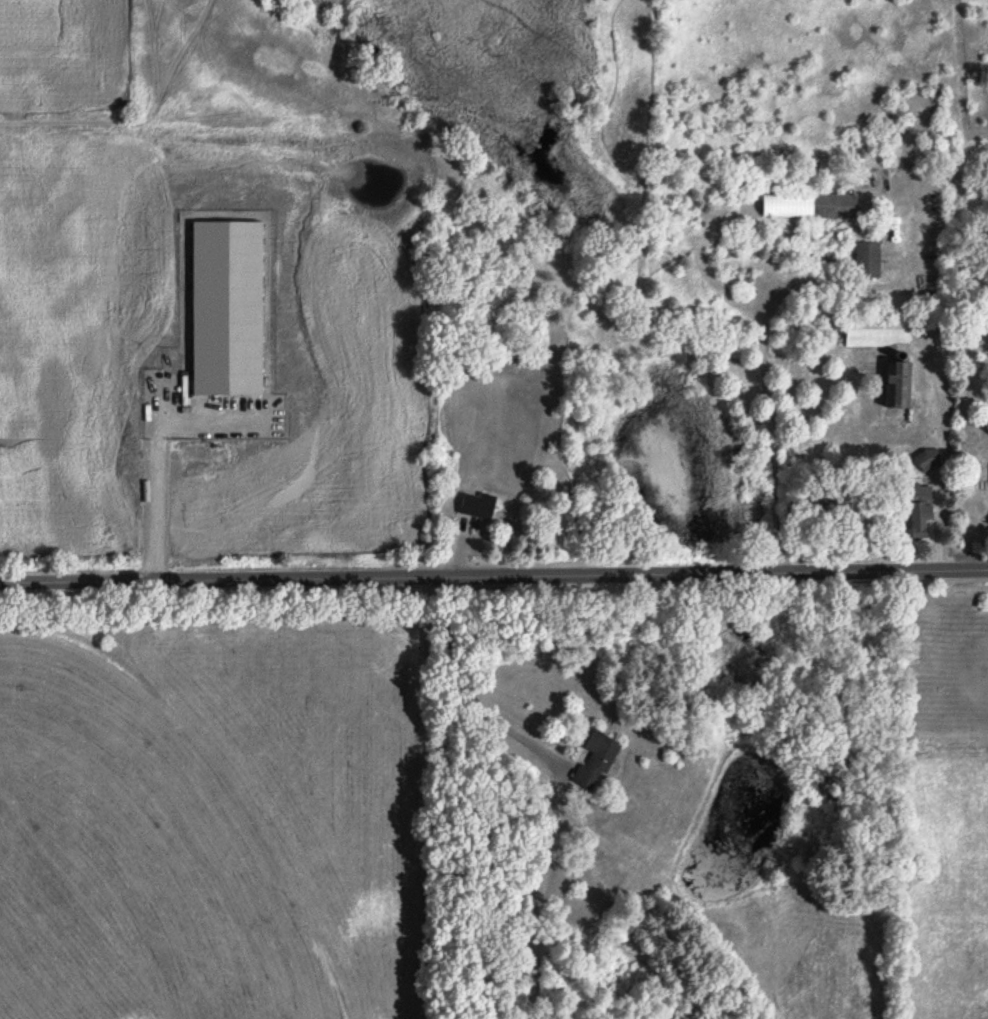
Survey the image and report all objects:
building: (836, 208)
building: (868, 261)
building: (879, 334)
road: (763, 368)
building: (901, 387)
building: (929, 461)
building: (480, 506)
road: (156, 512)
building: (920, 512)
road: (494, 579)
road: (461, 694)
building: (598, 762)

